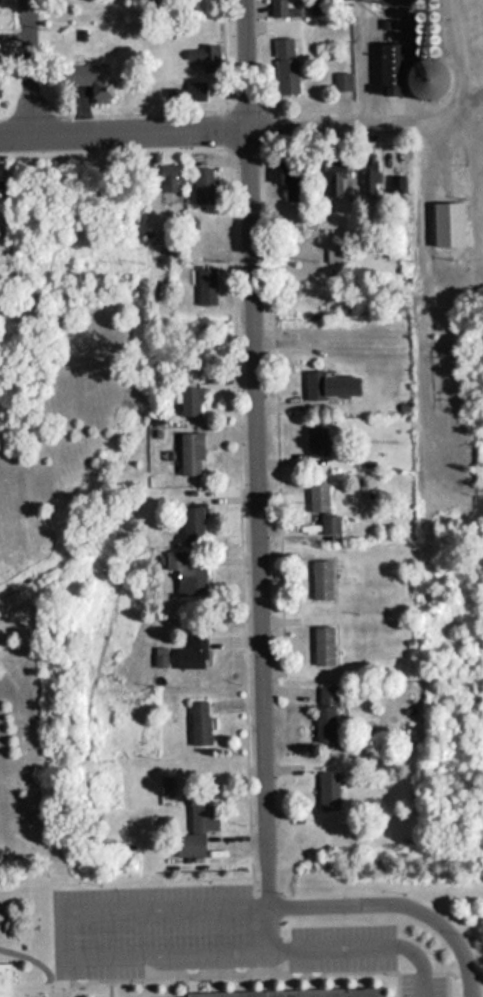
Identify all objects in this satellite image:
building: (282, 9)
building: (203, 57)
building: (284, 66)
road: (34, 67)
building: (386, 69)
building: (90, 79)
building: (428, 80)
building: (340, 81)
building: (191, 91)
road: (211, 127)
building: (0, 174)
building: (330, 174)
building: (368, 174)
building: (167, 178)
building: (286, 178)
building: (201, 186)
building: (446, 224)
building: (332, 255)
building: (205, 286)
building: (330, 385)
building: (188, 402)
road: (254, 439)
building: (316, 441)
building: (189, 454)
building: (317, 498)
building: (192, 523)
building: (329, 525)
building: (185, 575)
building: (319, 580)
building: (322, 646)
building: (190, 654)
building: (325, 714)
building: (198, 723)
building: (327, 791)
building: (195, 826)
road: (386, 903)
road: (134, 954)
road: (25, 961)
building: (5, 981)
building: (281, 994)

